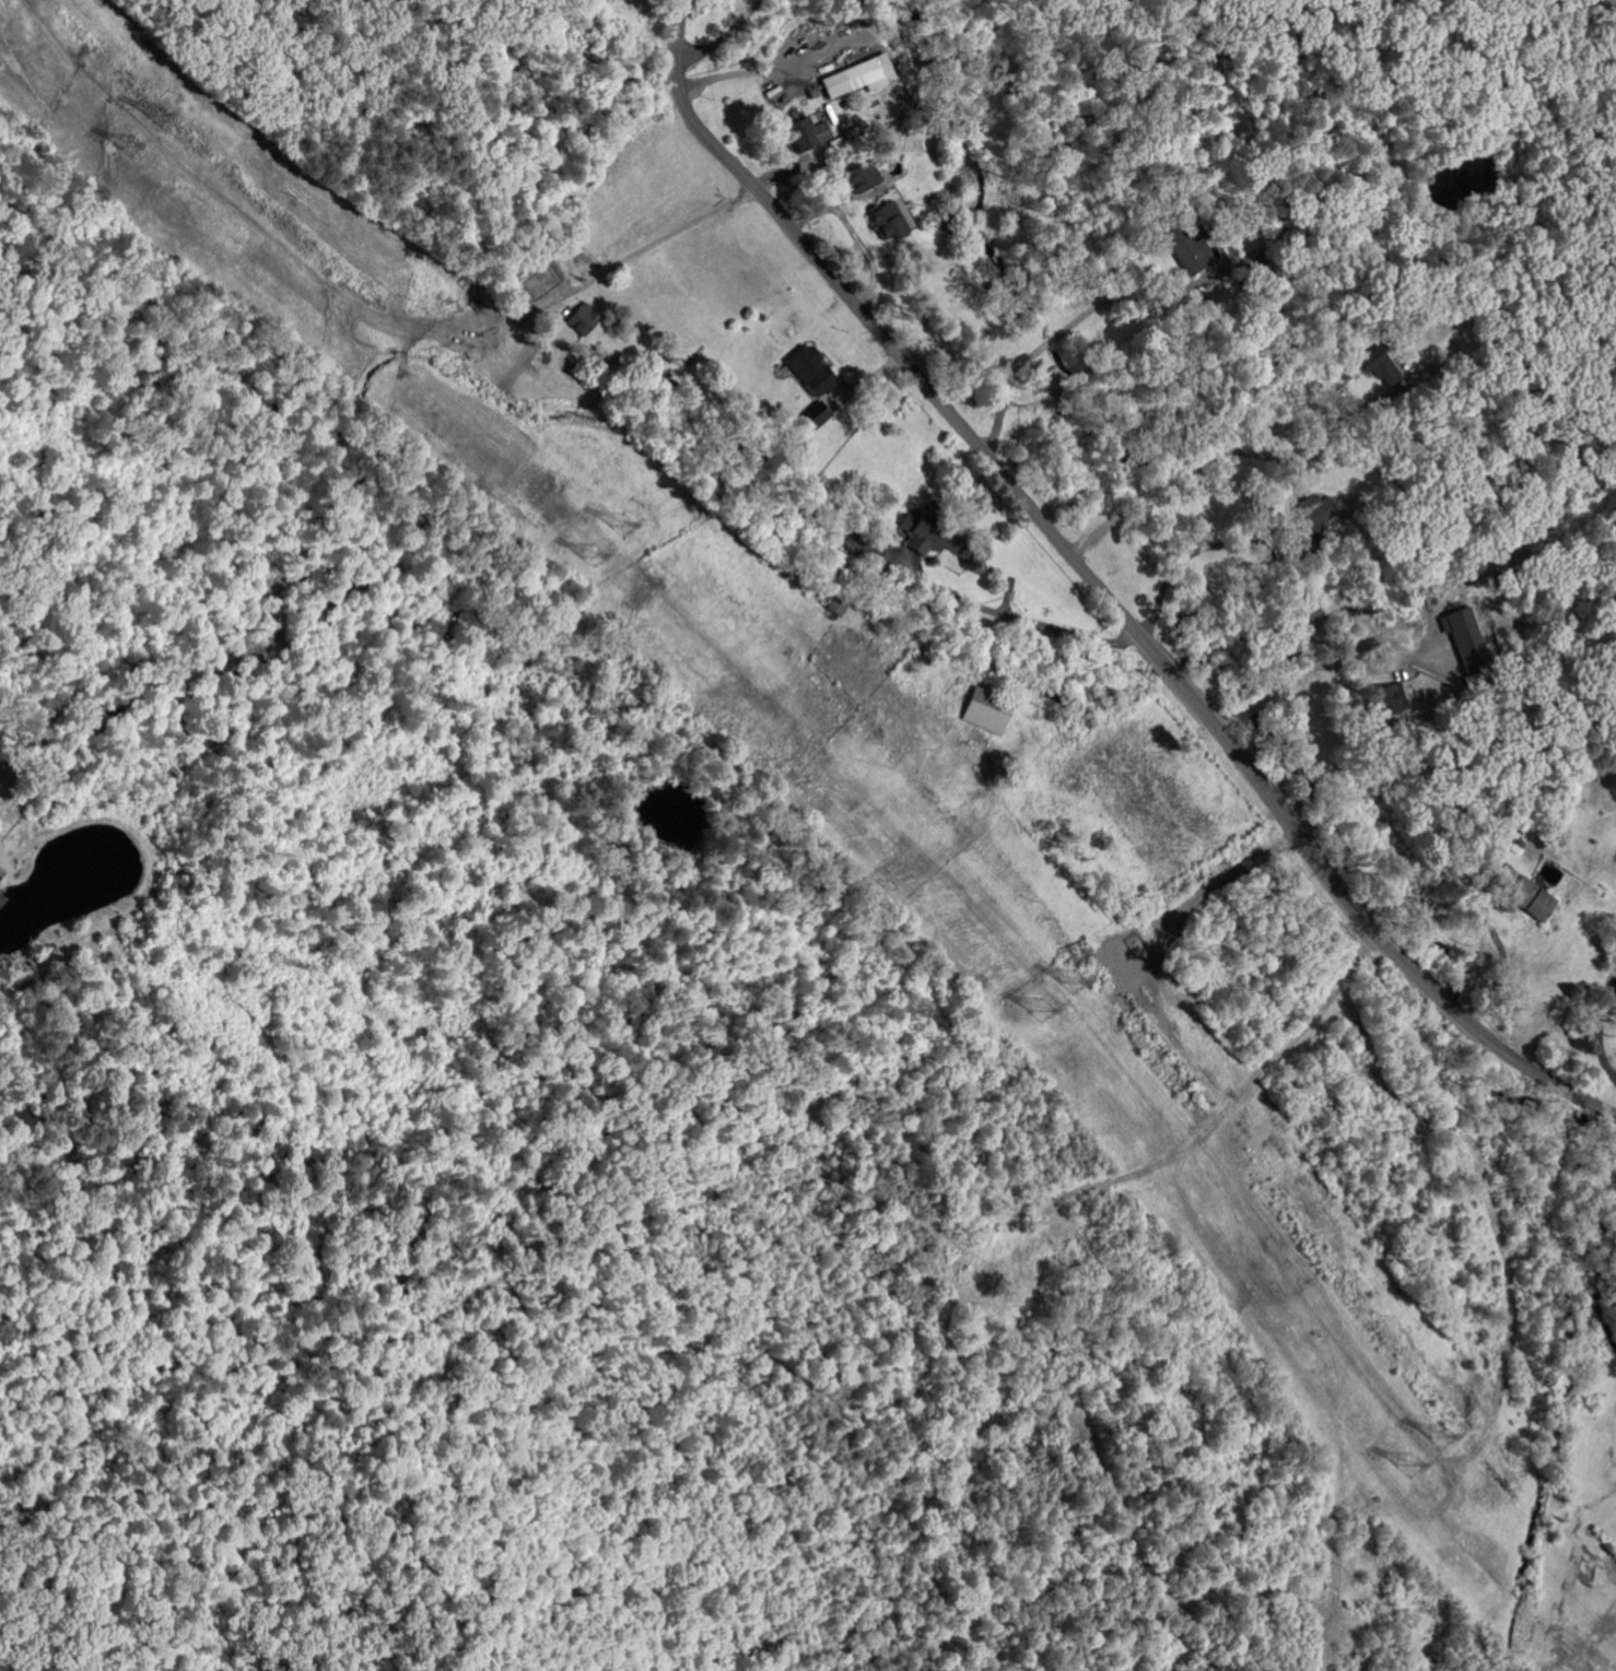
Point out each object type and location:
road: (723, 36)
building: (799, 59)
building: (926, 60)
road: (736, 73)
building: (844, 81)
power tower: (161, 113)
building: (1371, 120)
building: (806, 134)
building: (857, 136)
power tower: (131, 144)
building: (864, 177)
building: (890, 221)
road: (679, 228)
road: (854, 233)
building: (1191, 249)
building: (1272, 270)
building: (1405, 307)
building: (586, 318)
road: (888, 339)
road: (1051, 339)
building: (1380, 367)
building: (811, 369)
building: (817, 413)
road: (1190, 459)
building: (1347, 511)
building: (1309, 516)
power tower: (625, 522)
building: (937, 533)
power tower: (595, 554)
road: (1175, 565)
building: (839, 605)
road: (1041, 623)
building: (1441, 631)
building: (1465, 637)
road: (1164, 663)
building: (1441, 663)
road: (1276, 684)
building: (1389, 699)
building: (991, 710)
road: (1307, 832)
building: (1518, 845)
building: (1531, 902)
building: (1614, 944)
road: (1499, 973)
power tower: (1074, 980)
building: (1615, 987)
road: (1448, 1003)
power tower: (1044, 1011)
road: (1184, 1045)
road: (1601, 1048)
road: (1530, 1068)
road: (1596, 1293)
power tower: (1444, 1435)
power tower: (1412, 1464)

